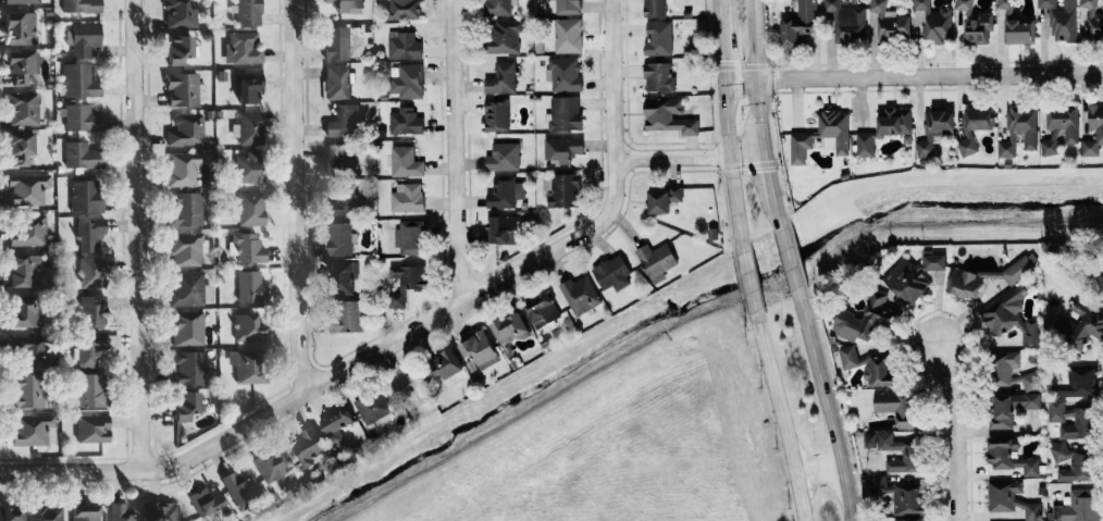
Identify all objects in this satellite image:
building: (22, 1)
building: (83, 5)
building: (347, 5)
building: (499, 7)
building: (568, 7)
building: (656, 7)
building: (404, 9)
building: (248, 12)
building: (181, 13)
building: (1062, 18)
building: (1092, 18)
building: (846, 21)
building: (935, 21)
building: (798, 22)
building: (887, 22)
building: (975, 23)
building: (1016, 25)
building: (21, 27)
building: (568, 35)
building: (505, 36)
building: (658, 37)
building: (83, 38)
road: (757, 39)
building: (337, 42)
building: (405, 46)
building: (178, 48)
building: (243, 48)
building: (22, 65)
building: (565, 73)
road: (931, 74)
building: (659, 76)
building: (501, 78)
road: (741, 79)
building: (79, 80)
building: (337, 80)
building: (248, 87)
building: (185, 88)
building: (23, 108)
building: (566, 112)
building: (496, 114)
road: (761, 114)
building: (668, 115)
building: (82, 117)
building: (344, 120)
building: (405, 121)
road: (616, 121)
road: (724, 126)
building: (975, 126)
building: (249, 127)
building: (188, 128)
building: (884, 128)
building: (934, 129)
building: (1019, 129)
building: (1099, 133)
building: (22, 146)
road: (458, 148)
building: (561, 149)
building: (83, 154)
building: (504, 156)
road: (691, 156)
building: (338, 158)
building: (406, 161)
building: (248, 166)
building: (183, 168)
road: (769, 174)
building: (28, 188)
building: (565, 190)
road: (299, 193)
building: (505, 193)
building: (86, 195)
building: (408, 196)
building: (664, 198)
building: (347, 201)
building: (186, 208)
building: (251, 208)
road: (778, 215)
building: (499, 230)
building: (29, 231)
building: (90, 234)
road: (140, 235)
building: (411, 236)
building: (340, 237)
building: (248, 247)
building: (187, 248)
building: (657, 260)
road: (789, 261)
building: (933, 261)
building: (25, 270)
building: (92, 271)
building: (612, 272)
building: (342, 276)
building: (1100, 278)
road: (749, 281)
building: (405, 282)
building: (906, 282)
building: (250, 285)
building: (190, 288)
building: (580, 294)
building: (23, 310)
building: (92, 310)
building: (543, 310)
building: (348, 317)
building: (865, 318)
building: (1011, 319)
building: (187, 327)
building: (249, 327)
building: (510, 327)
building: (95, 347)
building: (30, 349)
building: (479, 350)
building: (444, 364)
building: (250, 365)
building: (869, 365)
building: (189, 367)
building: (1002, 369)
road: (413, 370)
building: (1078, 381)
building: (29, 389)
building: (91, 389)
road: (305, 390)
building: (1029, 400)
building: (186, 404)
road: (829, 405)
building: (373, 407)
building: (897, 408)
building: (1002, 411)
road: (781, 414)
building: (1073, 419)
building: (336, 425)
road: (957, 426)
building: (92, 427)
building: (33, 429)
building: (309, 445)
building: (910, 454)
building: (1009, 457)
building: (1074, 462)
building: (272, 463)
road: (820, 466)
building: (239, 488)
building: (900, 494)
building: (206, 499)
building: (1012, 499)
building: (1080, 506)
building: (161, 510)
building: (45, 512)
building: (85, 512)
building: (121, 512)
building: (11, 513)
building: (908, 519)

